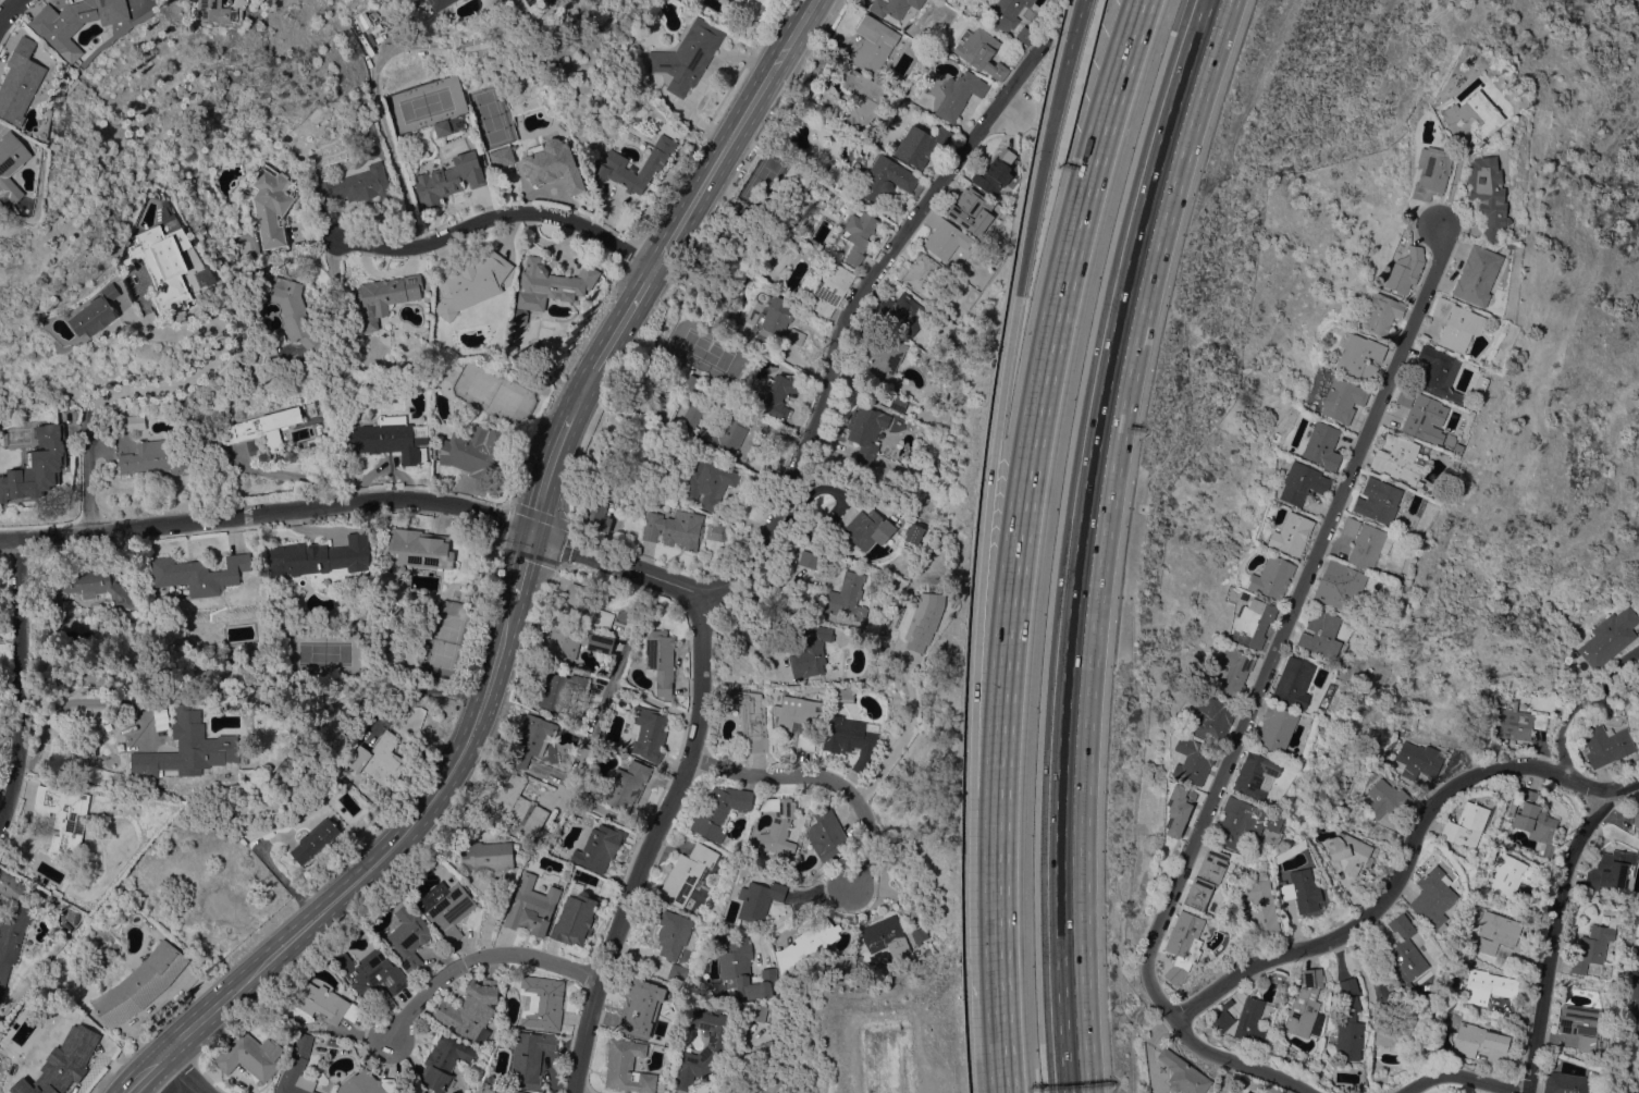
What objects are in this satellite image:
building: (730, 0)
building: (527, 1)
building: (440, 3)
building: (894, 7)
building: (753, 9)
building: (217, 12)
building: (1005, 13)
road: (9, 15)
building: (78, 22)
road: (1073, 30)
building: (1026, 34)
building: (874, 42)
building: (981, 51)
building: (687, 56)
building: (896, 78)
building: (23, 82)
road: (374, 87)
building: (959, 94)
building: (863, 98)
building: (1474, 113)
building: (449, 124)
building: (920, 144)
building: (501, 157)
building: (13, 162)
building: (552, 163)
building: (607, 163)
building: (996, 172)
building: (1432, 172)
building: (887, 177)
building: (449, 179)
building: (357, 184)
building: (1488, 195)
building: (269, 204)
road: (691, 206)
building: (971, 210)
building: (162, 214)
building: (743, 214)
road: (500, 221)
building: (1410, 222)
building: (859, 234)
building: (945, 236)
road: (1025, 248)
building: (161, 265)
building: (1405, 270)
building: (923, 274)
building: (1477, 275)
building: (469, 282)
building: (549, 286)
building: (831, 286)
building: (385, 296)
building: (899, 310)
building: (96, 311)
building: (295, 314)
building: (1379, 314)
building: (774, 319)
road: (854, 319)
building: (1456, 324)
building: (796, 335)
building: (1360, 357)
building: (885, 361)
building: (1438, 372)
building: (689, 383)
road: (164, 389)
road: (1046, 393)
building: (776, 394)
building: (1341, 398)
building: (692, 414)
building: (1421, 415)
building: (132, 422)
building: (263, 427)
building: (866, 430)
building: (389, 438)
building: (722, 439)
building: (1322, 445)
building: (475, 450)
building: (161, 456)
building: (1397, 458)
road: (551, 470)
building: (27, 474)
road: (285, 475)
building: (707, 483)
building: (1303, 483)
building: (1377, 500)
road: (268, 513)
building: (597, 515)
building: (868, 528)
traffic signals: (535, 529)
building: (686, 529)
building: (715, 531)
building: (817, 531)
building: (913, 533)
building: (1291, 533)
road: (1082, 539)
building: (1364, 542)
building: (419, 548)
building: (319, 556)
building: (808, 558)
road: (621, 561)
road: (526, 565)
building: (198, 574)
building: (1271, 577)
building: (1339, 586)
building: (93, 587)
building: (299, 592)
building: (848, 597)
building: (589, 605)
building: (1566, 612)
road: (999, 617)
building: (924, 619)
building: (1254, 623)
road: (1284, 624)
building: (1320, 634)
building: (1609, 637)
building: (575, 642)
building: (810, 651)
road: (736, 654)
building: (660, 660)
building: (1229, 672)
building: (1294, 683)
road: (17, 689)
building: (560, 689)
building: (1540, 691)
building: (1560, 696)
building: (1500, 698)
road: (654, 700)
road: (75, 701)
road: (1575, 704)
building: (796, 711)
building: (557, 715)
building: (751, 717)
building: (1210, 717)
building: (408, 720)
road: (593, 721)
building: (1518, 722)
building: (1276, 728)
building: (649, 733)
building: (533, 737)
road: (902, 738)
building: (805, 740)
building: (851, 740)
building: (1605, 744)
building: (190, 748)
building: (378, 759)
building: (1193, 760)
building: (1418, 760)
building: (1256, 774)
building: (630, 776)
road: (1564, 776)
road: (823, 795)
building: (1388, 799)
building: (515, 803)
building: (1178, 809)
road: (603, 810)
building: (719, 812)
building: (1636, 816)
building: (63, 818)
building: (1536, 821)
building: (1246, 824)
building: (777, 825)
building: (1466, 825)
building: (1638, 834)
building: (827, 835)
building: (315, 839)
building: (597, 847)
road: (652, 850)
road: (382, 851)
building: (1290, 851)
building: (1348, 851)
building: (486, 856)
building: (1611, 870)
building: (687, 873)
building: (1512, 875)
building: (1206, 877)
building: (1302, 891)
building: (1433, 897)
building: (759, 899)
building: (1261, 904)
building: (530, 906)
road: (802, 906)
building: (446, 907)
building: (576, 918)
building: (13, 924)
road: (1357, 924)
building: (1496, 931)
building: (673, 933)
road: (1551, 934)
building: (408, 936)
building: (885, 936)
building: (806, 945)
road: (1002, 945)
building: (1183, 945)
building: (1593, 945)
building: (1405, 954)
road: (480, 956)
building: (1637, 956)
building: (744, 970)
building: (677, 973)
building: (372, 974)
building: (140, 984)
building: (1489, 986)
building: (541, 1002)
building: (322, 1004)
building: (642, 1004)
building: (1304, 1005)
building: (471, 1010)
building: (759, 1012)
building: (1637, 1015)
building: (1222, 1017)
building: (1250, 1020)
building: (1348, 1023)
building: (1579, 1024)
building: (1398, 1027)
building: (1477, 1040)
building: (711, 1051)
building: (767, 1052)
building: (247, 1056)
building: (529, 1057)
building: (70, 1058)
road: (1235, 1060)
building: (445, 1061)
building: (296, 1066)
building: (627, 1067)
road: (146, 1069)
road: (188, 1071)
building: (1183, 1073)
road: (1463, 1076)
building: (772, 1080)
building: (368, 1083)
building: (1565, 1083)
road: (189, 1086)
building: (509, 1091)
building: (1178, 1092)
building: (1244, 1092)

